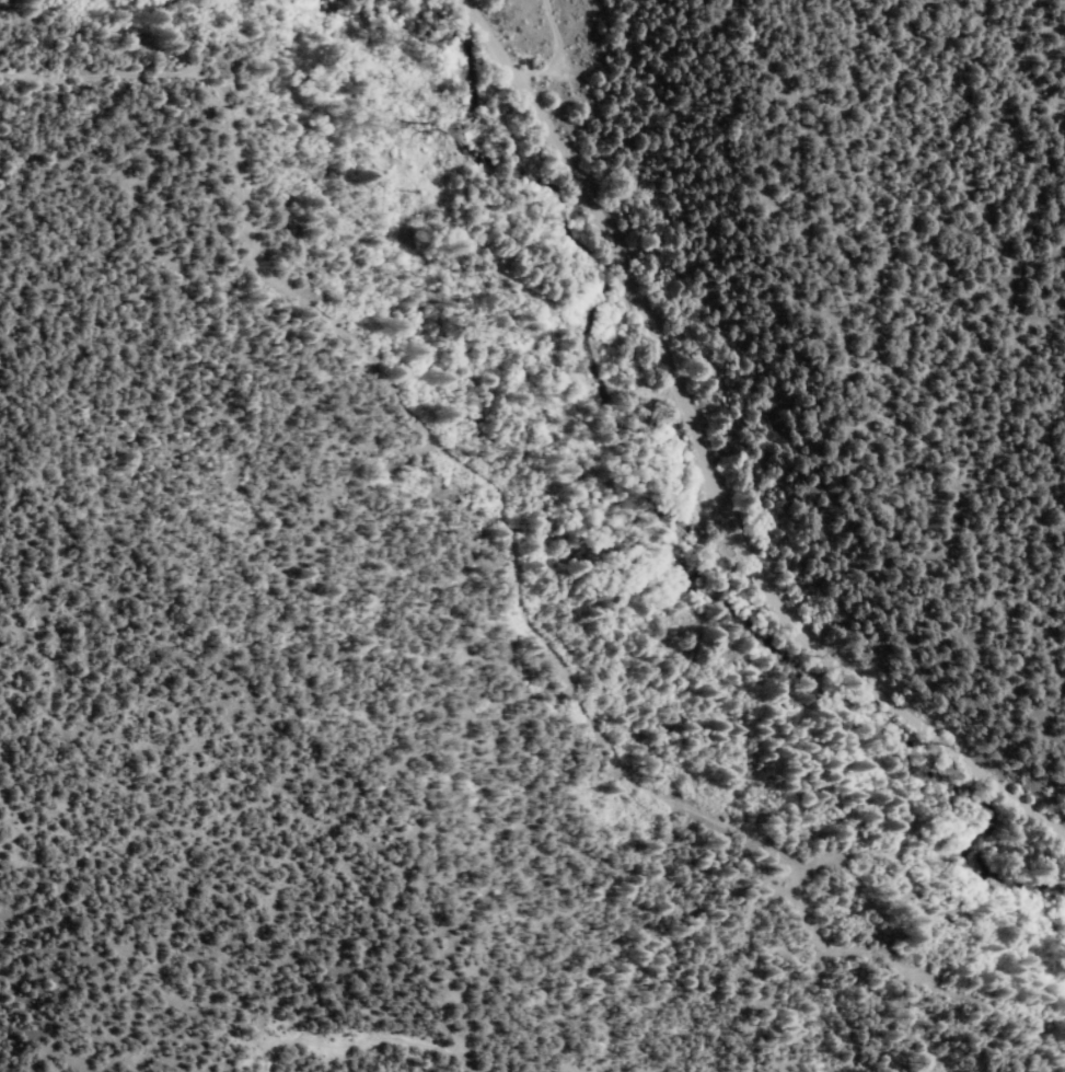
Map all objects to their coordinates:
road: (705, 452)
road: (509, 549)
road: (407, 1069)

